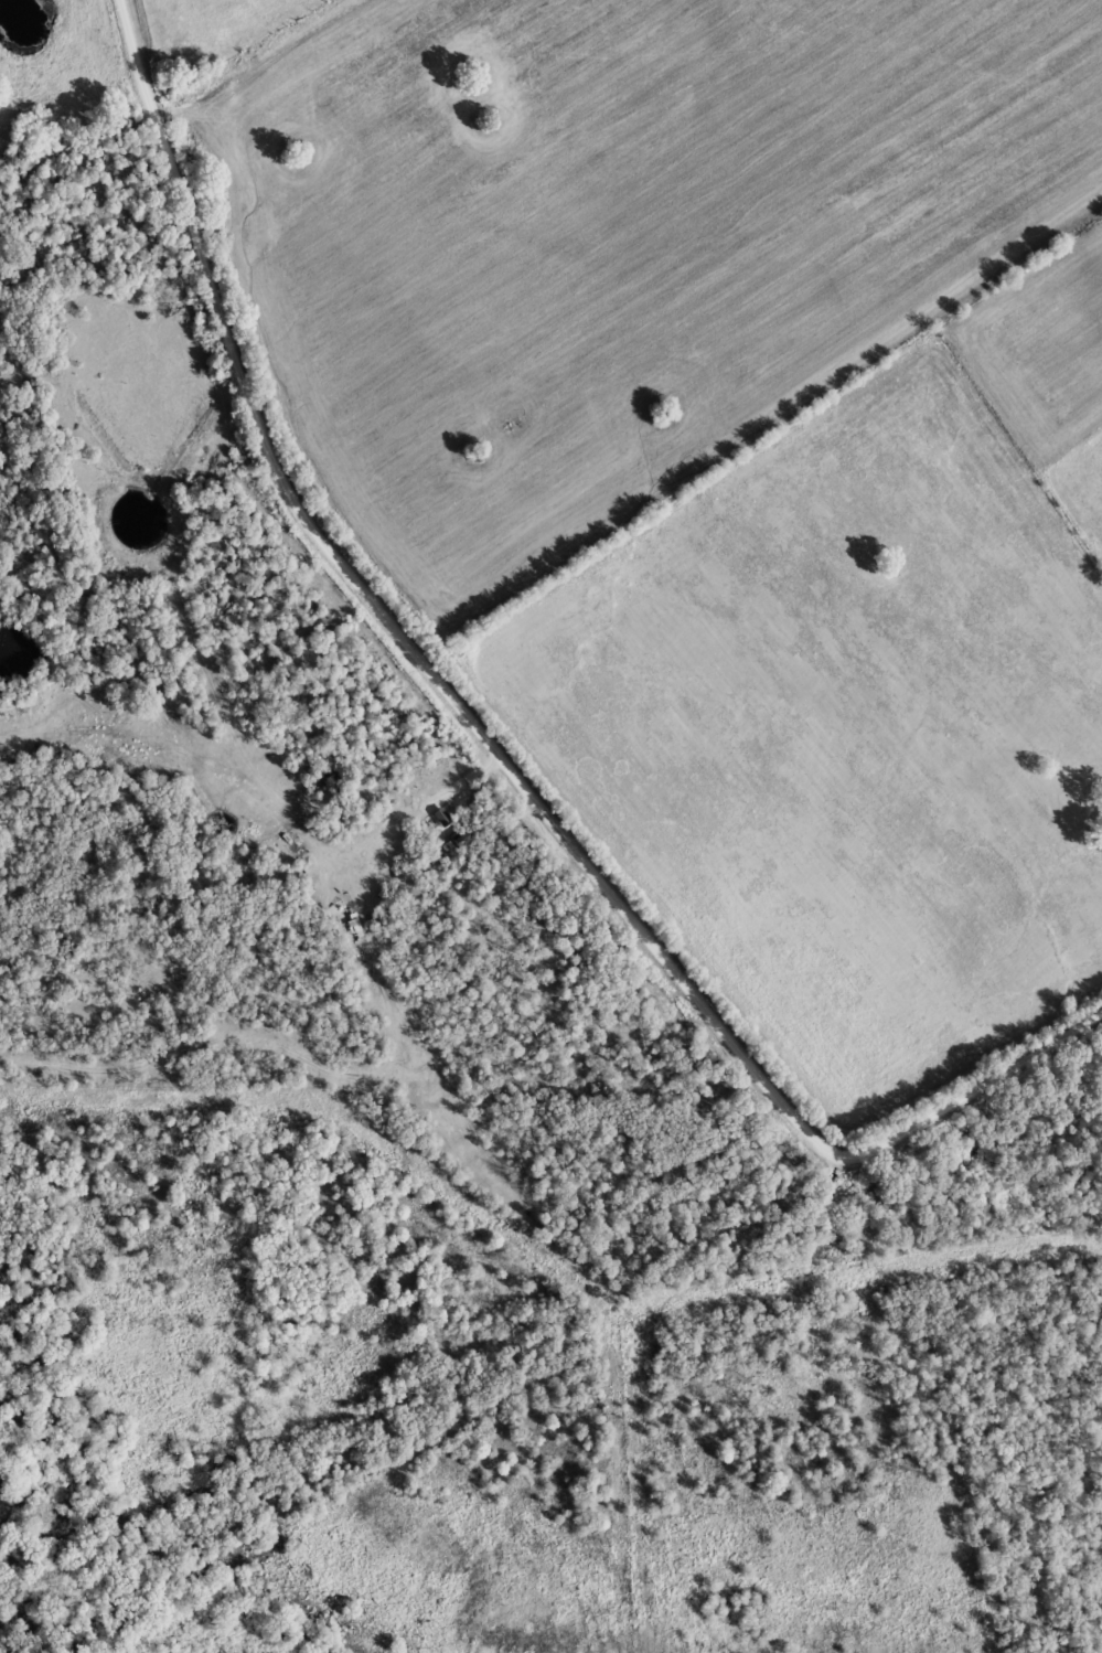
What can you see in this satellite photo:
road: (244, 56)
road: (397, 627)
road: (971, 1086)

